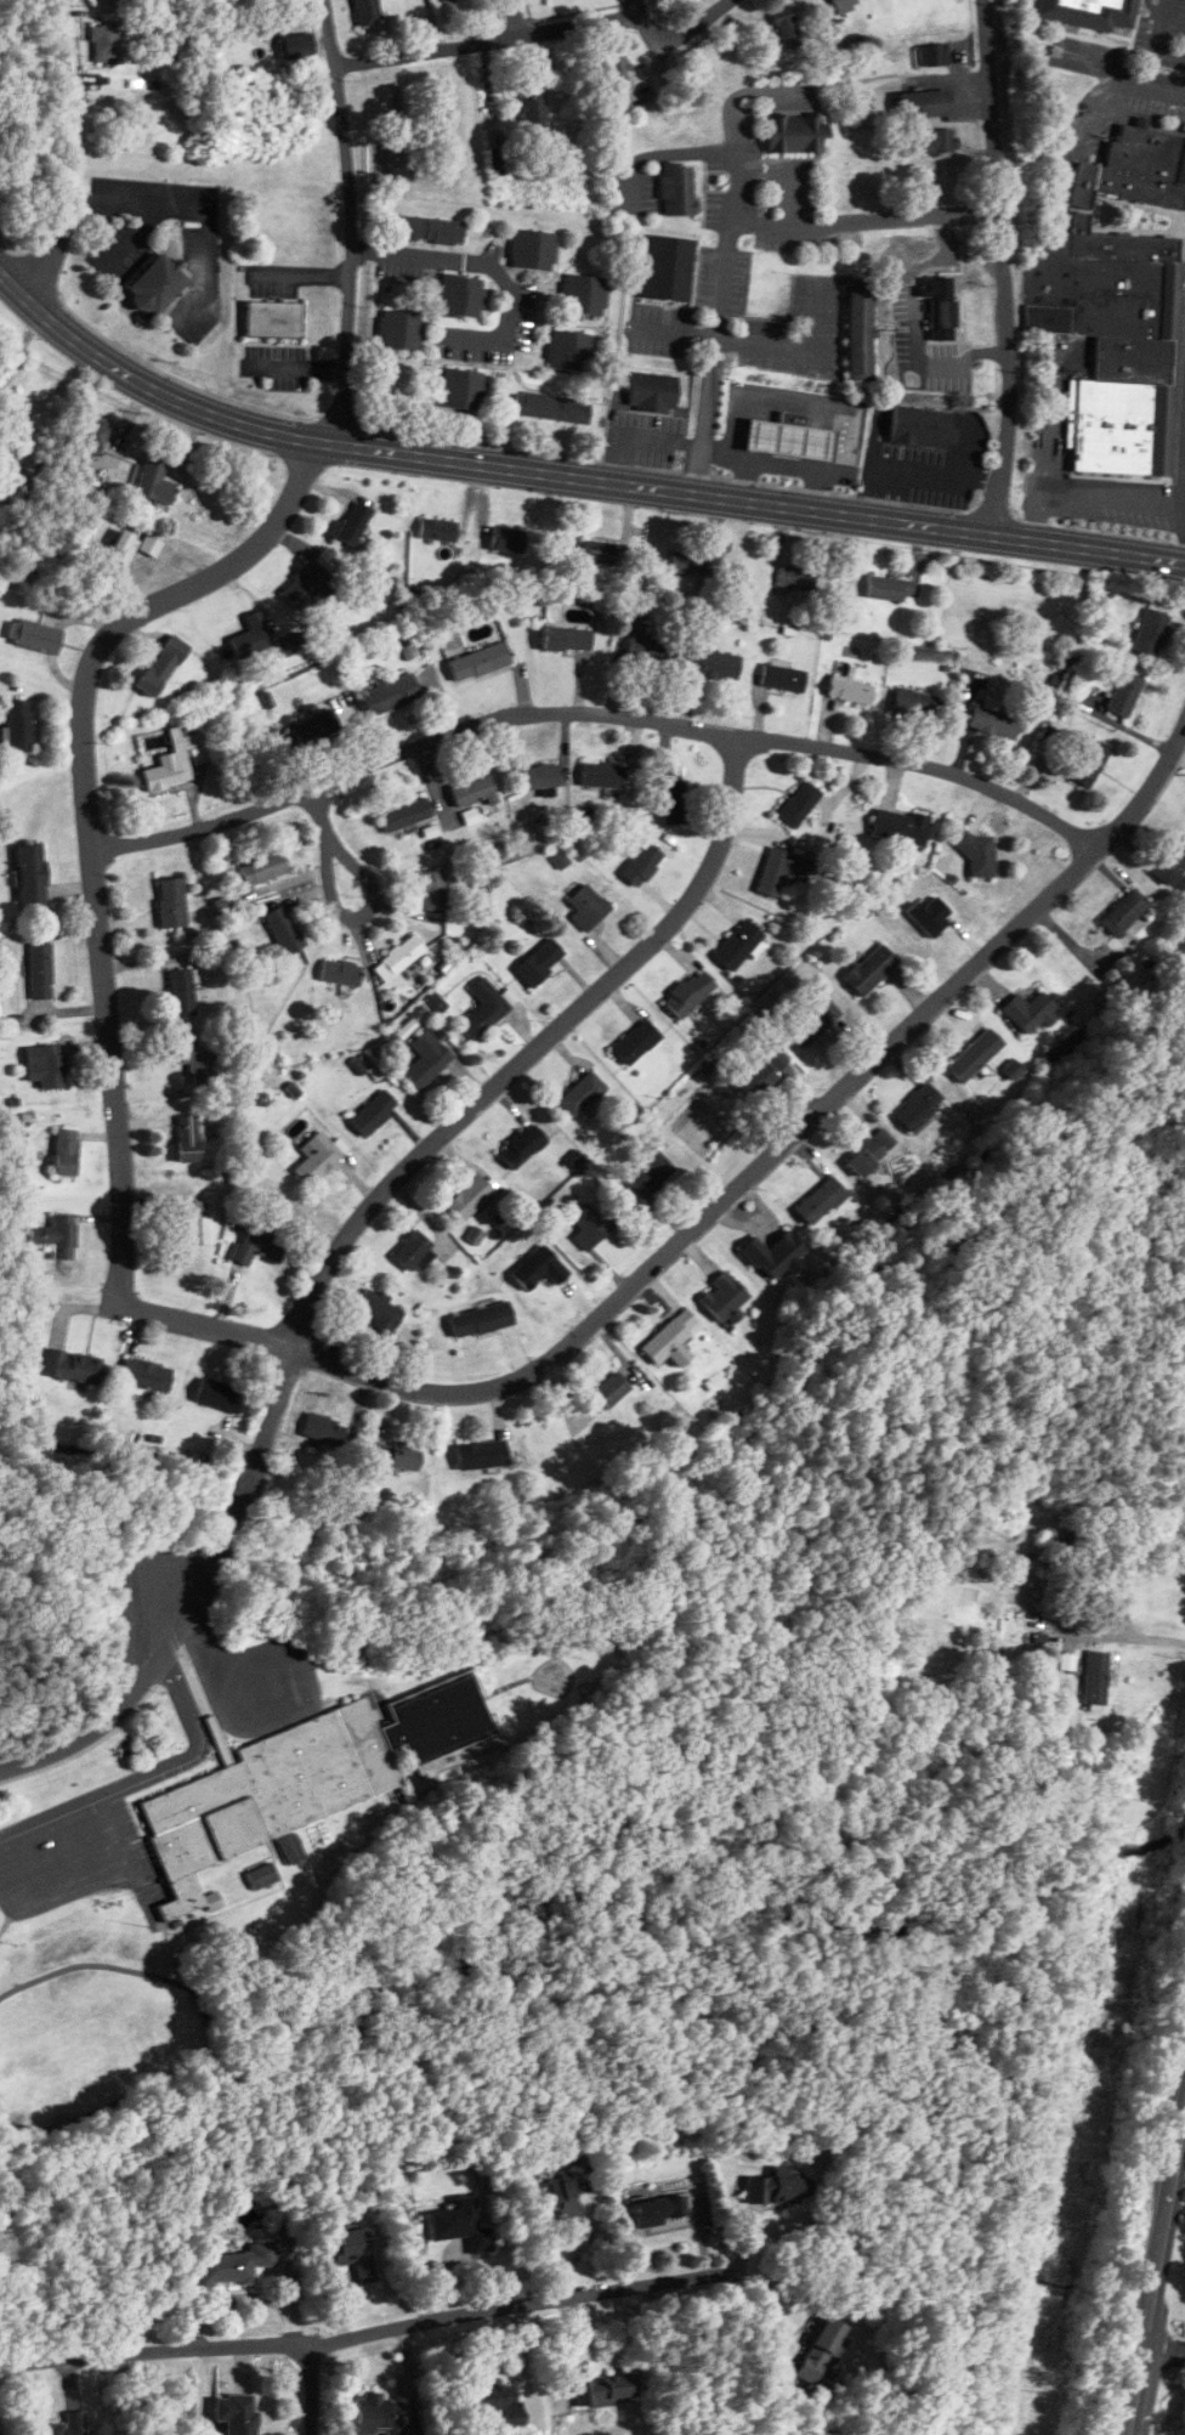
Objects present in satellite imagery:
building: (845, 4)
road: (636, 7)
building: (368, 11)
building: (1090, 12)
road: (518, 18)
building: (787, 27)
road: (682, 32)
road: (1156, 38)
building: (104, 43)
road: (488, 43)
building: (297, 46)
building: (934, 56)
building: (616, 75)
building: (925, 104)
building: (532, 109)
building: (795, 134)
building: (937, 141)
road: (68, 154)
building: (503, 159)
building: (677, 188)
road: (131, 202)
road: (879, 215)
road: (350, 222)
building: (425, 230)
building: (533, 249)
road: (487, 266)
building: (667, 267)
road: (1002, 270)
building: (158, 285)
building: (583, 294)
building: (461, 296)
building: (1117, 310)
building: (943, 313)
building: (274, 319)
building: (399, 330)
building: (861, 330)
building: (569, 350)
road: (18, 355)
road: (711, 374)
building: (461, 389)
building: (653, 392)
building: (554, 408)
building: (920, 427)
building: (91, 438)
building: (789, 438)
road: (569, 477)
building: (154, 480)
road: (1092, 497)
building: (353, 523)
building: (438, 530)
building: (508, 538)
building: (151, 545)
building: (123, 548)
building: (599, 551)
building: (686, 564)
building: (798, 578)
building: (307, 585)
building: (890, 588)
building: (1152, 633)
building: (253, 635)
building: (35, 636)
building: (567, 639)
building: (652, 650)
building: (481, 662)
building: (715, 664)
building: (163, 666)
building: (782, 676)
building: (850, 690)
building: (1124, 692)
building: (390, 695)
building: (917, 704)
road: (596, 710)
building: (993, 719)
building: (18, 725)
building: (311, 730)
building: (176, 763)
building: (1090, 764)
building: (542, 776)
building: (602, 776)
building: (474, 792)
building: (673, 795)
building: (800, 804)
building: (404, 815)
road: (92, 826)
building: (901, 826)
building: (980, 855)
building: (1169, 860)
building: (642, 865)
building: (263, 868)
building: (782, 870)
building: (33, 873)
building: (433, 890)
building: (171, 902)
building: (588, 907)
road: (339, 911)
building: (1124, 911)
building: (284, 930)
building: (738, 944)
building: (399, 957)
building: (540, 962)
building: (871, 969)
building: (40, 970)
building: (340, 972)
building: (183, 989)
building: (688, 992)
building: (484, 1008)
building: (1028, 1009)
building: (816, 1019)
building: (636, 1042)
road: (537, 1048)
building: (427, 1055)
building: (775, 1055)
building: (194, 1059)
building: (970, 1059)
building: (46, 1065)
building: (756, 1077)
building: (918, 1108)
building: (374, 1111)
building: (188, 1138)
building: (523, 1145)
building: (67, 1151)
building: (866, 1156)
building: (317, 1159)
building: (651, 1173)
building: (469, 1197)
building: (821, 1200)
building: (189, 1223)
building: (590, 1224)
building: (57, 1235)
road: (681, 1238)
building: (257, 1246)
building: (413, 1248)
building: (773, 1252)
building: (725, 1297)
building: (379, 1309)
building: (482, 1319)
building: (670, 1335)
building: (72, 1365)
building: (147, 1375)
building: (611, 1389)
building: (220, 1395)
building: (323, 1431)
building: (482, 1455)
building: (396, 1457)
road: (198, 1601)
road: (1130, 1633)
building: (1096, 1677)
road: (143, 1777)
building: (302, 1780)
building: (290, 1848)
building: (262, 1876)
road: (93, 1878)
building: (775, 2190)
building: (556, 2197)
building: (659, 2212)
building: (461, 2225)
building: (352, 2250)
building: (236, 2264)
road: (1153, 2277)
road: (389, 2332)
road: (1162, 2349)
building: (821, 2350)
road: (310, 2389)
building: (603, 2395)
building: (489, 2401)
building: (237, 2414)
building: (378, 2414)
building: (67, 2425)

